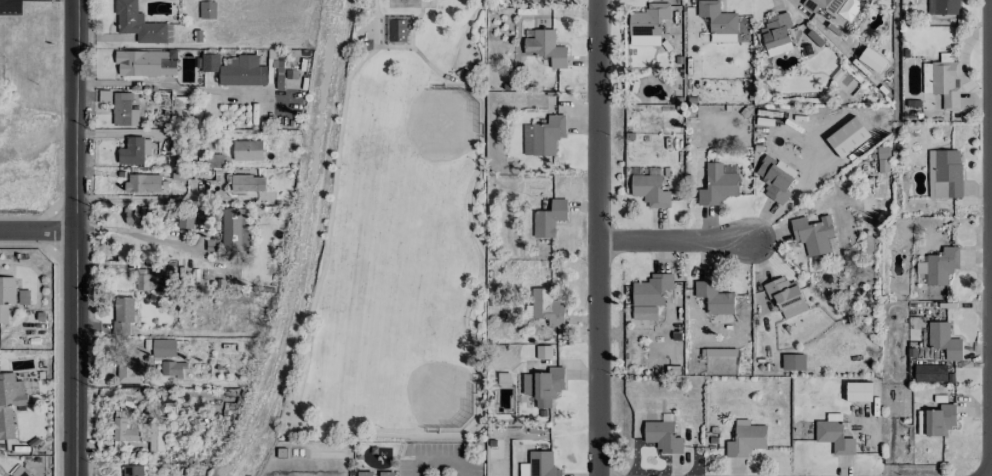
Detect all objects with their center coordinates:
building: (834, 7)
building: (944, 7)
building: (717, 17)
building: (648, 19)
building: (137, 24)
building: (397, 30)
building: (776, 34)
building: (722, 37)
building: (644, 40)
building: (547, 48)
building: (871, 59)
building: (210, 62)
building: (144, 63)
building: (242, 70)
building: (946, 83)
road: (173, 85)
building: (123, 110)
road: (75, 116)
building: (543, 136)
building: (247, 150)
building: (131, 151)
building: (930, 166)
building: (947, 173)
building: (143, 183)
building: (246, 183)
building: (718, 184)
building: (776, 184)
building: (650, 190)
building: (138, 215)
building: (549, 218)
building: (235, 229)
road: (37, 232)
building: (813, 234)
road: (598, 238)
road: (151, 239)
park: (403, 239)
road: (675, 240)
building: (937, 266)
building: (149, 279)
building: (651, 289)
building: (9, 296)
building: (785, 296)
building: (714, 297)
building: (547, 307)
building: (644, 312)
building: (122, 313)
building: (943, 340)
building: (163, 347)
building: (543, 352)
road: (76, 354)
building: (717, 356)
building: (793, 361)
building: (172, 368)
building: (127, 371)
building: (931, 373)
building: (544, 385)
building: (858, 391)
building: (9, 402)
building: (936, 420)
building: (137, 433)
building: (834, 434)
building: (662, 436)
road: (440, 464)
building: (539, 465)
building: (132, 470)
road: (417, 470)
road: (464, 470)
building: (367, 473)
building: (386, 473)

